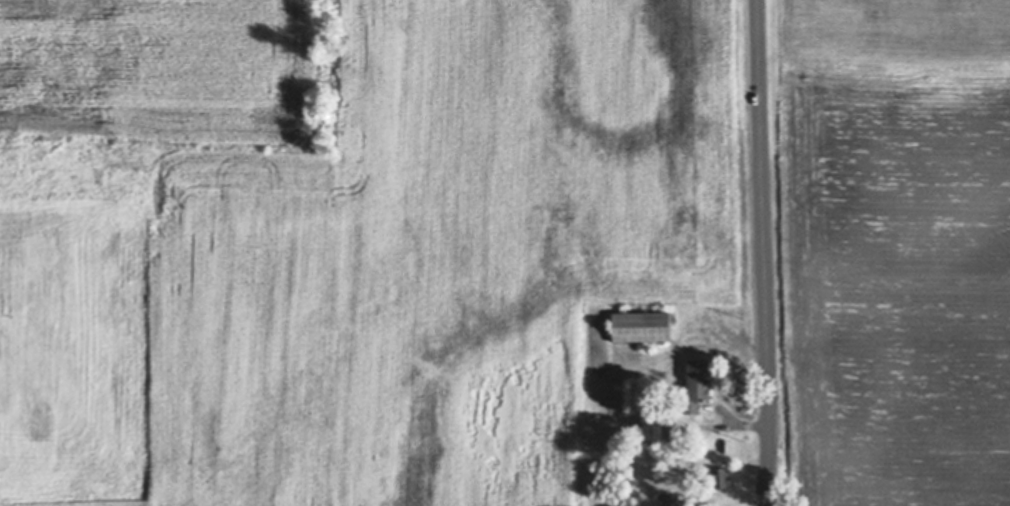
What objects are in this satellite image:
road: (764, 253)
building: (641, 326)
building: (682, 383)
building: (696, 385)
building: (651, 426)
building: (720, 478)

